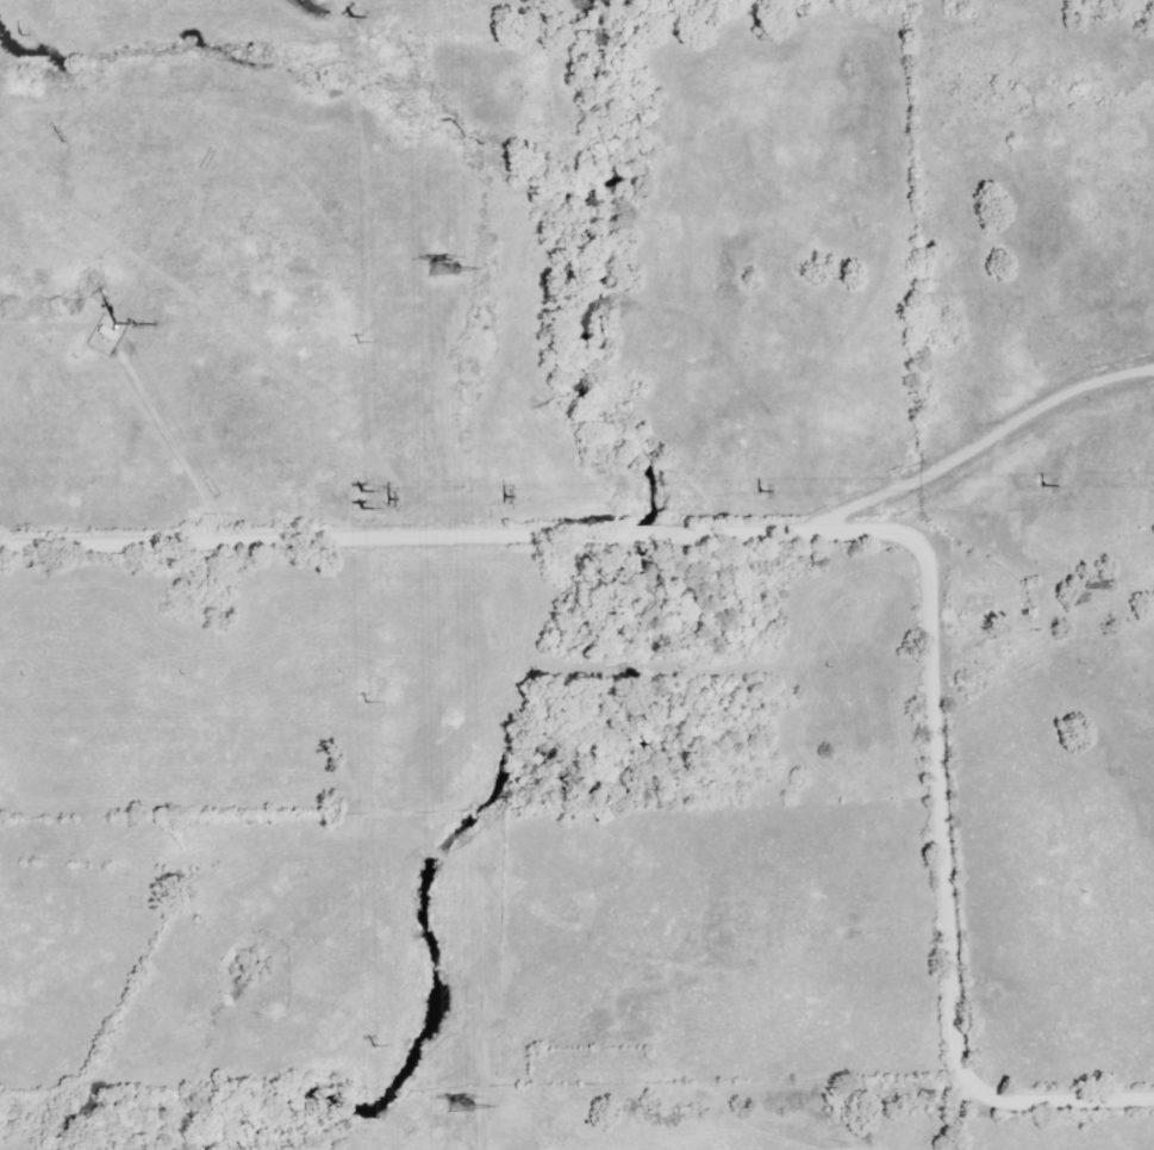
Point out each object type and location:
power tower: (353, 15)
power tower: (5, 39)
power tower: (57, 136)
power tower: (443, 268)
power tower: (361, 341)
road: (977, 447)
power tower: (1046, 485)
power tower: (363, 491)
power tower: (763, 491)
power tower: (501, 496)
power tower: (389, 501)
power tower: (363, 505)
road: (829, 534)
power tower: (363, 703)
power tower: (368, 1046)
power tower: (460, 1104)

